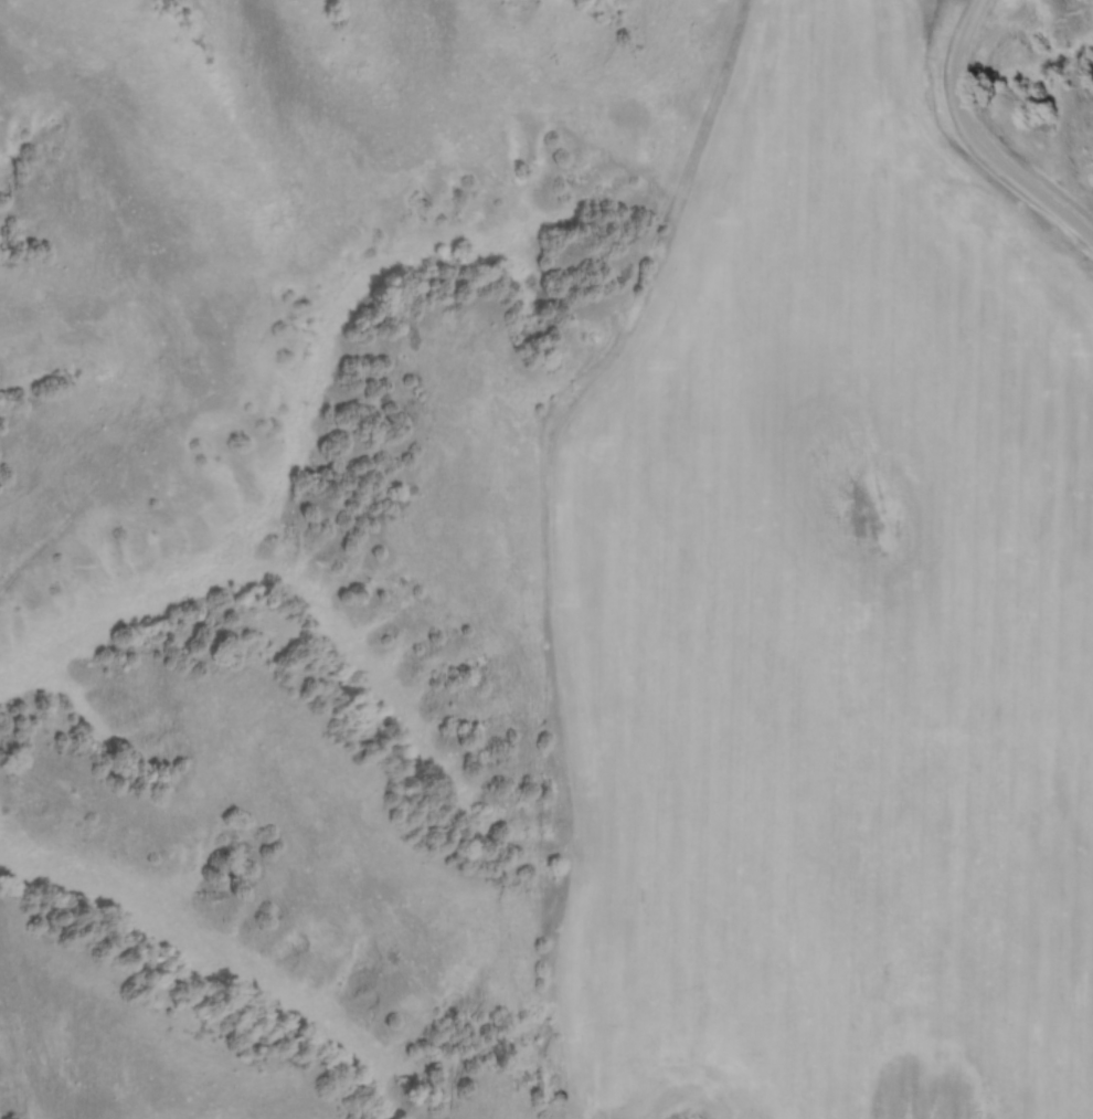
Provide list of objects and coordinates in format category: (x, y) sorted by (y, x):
road: (979, 138)

